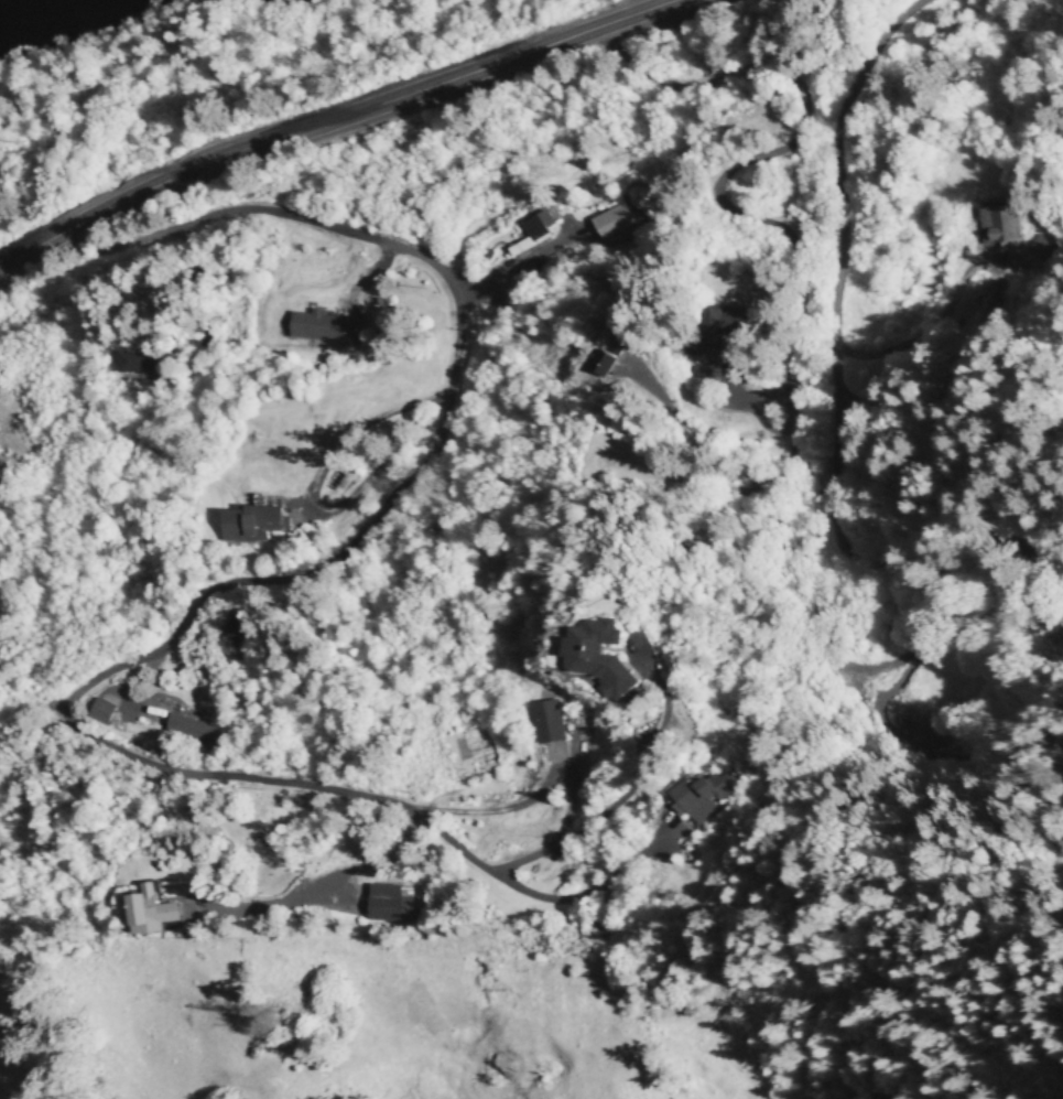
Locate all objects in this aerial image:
road: (350, 130)
building: (639, 196)
building: (614, 226)
building: (1001, 229)
road: (132, 243)
building: (529, 243)
building: (1040, 254)
building: (718, 326)
building: (317, 333)
building: (135, 362)
building: (600, 362)
building: (249, 527)
building: (230, 635)
building: (598, 665)
road: (134, 680)
building: (550, 725)
building: (188, 730)
building: (702, 795)
building: (388, 903)
building: (149, 911)

